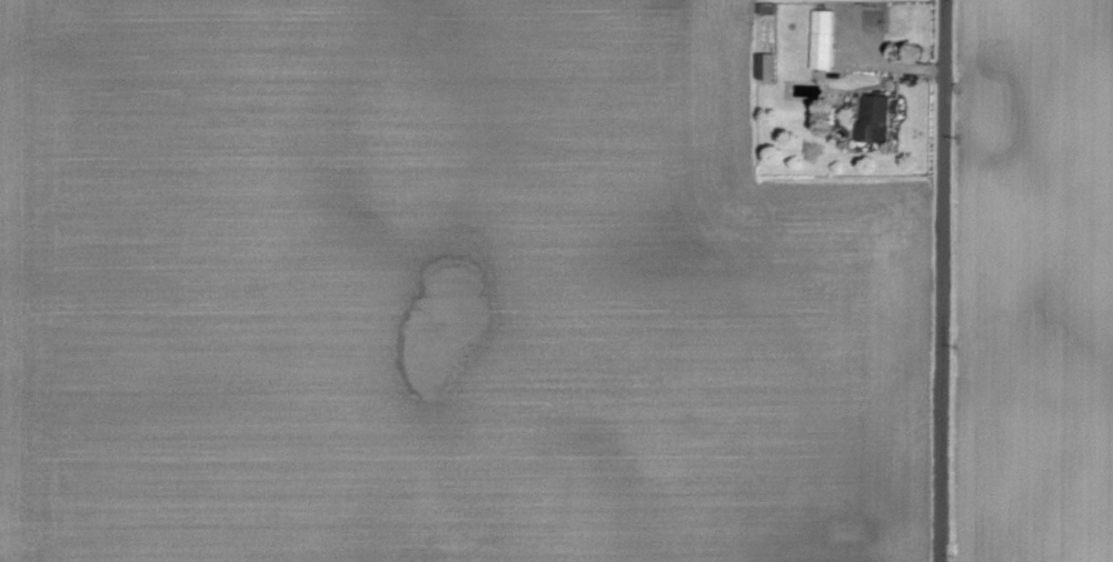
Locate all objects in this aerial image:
building: (826, 40)
building: (769, 66)
building: (878, 119)
road: (943, 281)

